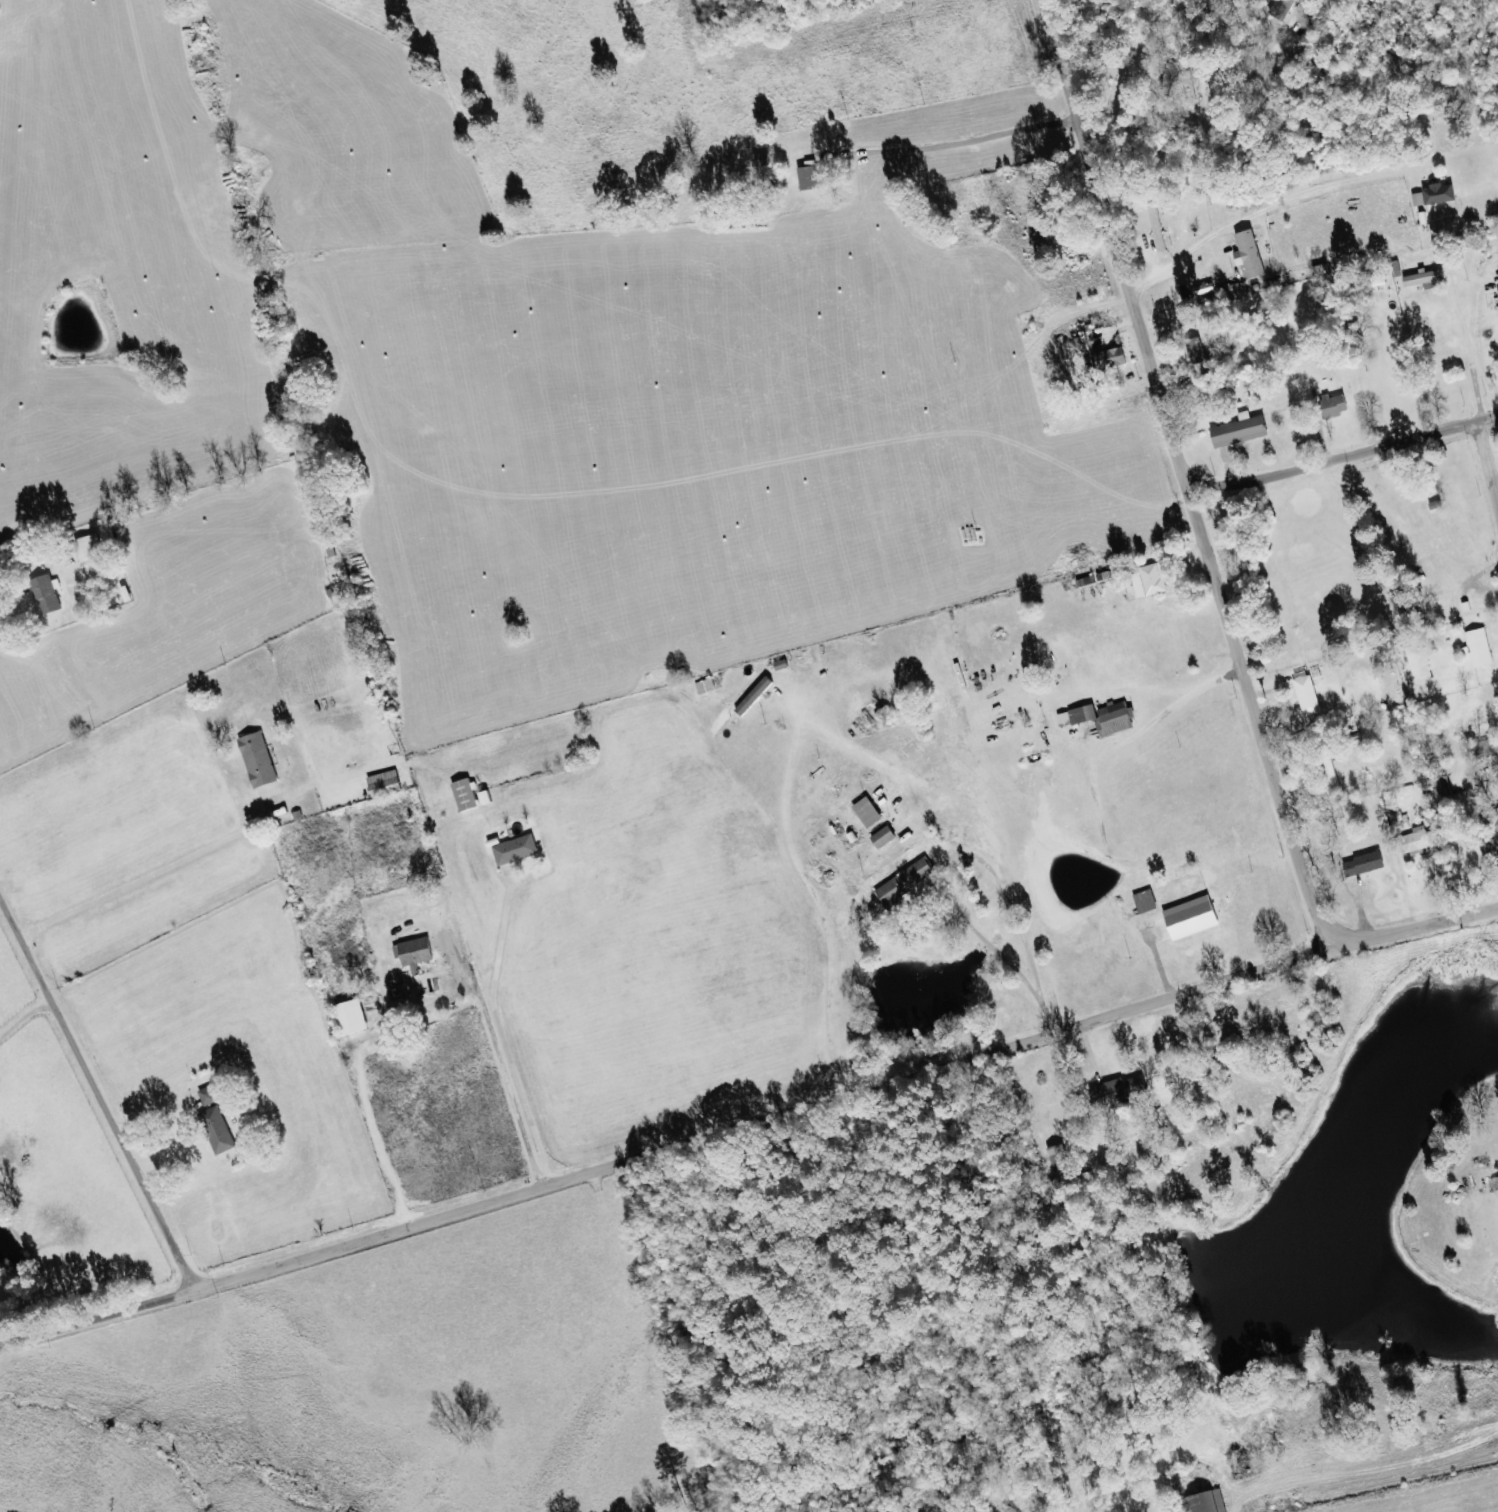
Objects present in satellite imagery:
road: (818, 138)
building: (812, 177)
building: (1441, 194)
building: (1251, 254)
building: (1397, 269)
building: (1426, 280)
building: (1111, 359)
building: (1337, 405)
building: (1242, 431)
road: (1344, 458)
road: (1489, 458)
road: (1183, 475)
building: (89, 546)
building: (1155, 579)
building: (48, 594)
building: (1480, 648)
building: (706, 687)
building: (756, 696)
building: (1309, 696)
building: (1079, 716)
building: (1117, 719)
building: (260, 760)
building: (467, 795)
building: (487, 798)
building: (869, 813)
building: (1492, 816)
building: (885, 838)
building: (1420, 842)
building: (517, 850)
building: (1366, 865)
building: (907, 883)
building: (1147, 902)
building: (1194, 918)
building: (420, 964)
building: (354, 1018)
building: (1119, 1089)
building: (209, 1096)
road: (98, 1097)
road: (748, 1127)
building: (219, 1131)
building: (1057, 1158)
building: (1496, 1184)
building: (1208, 1502)

